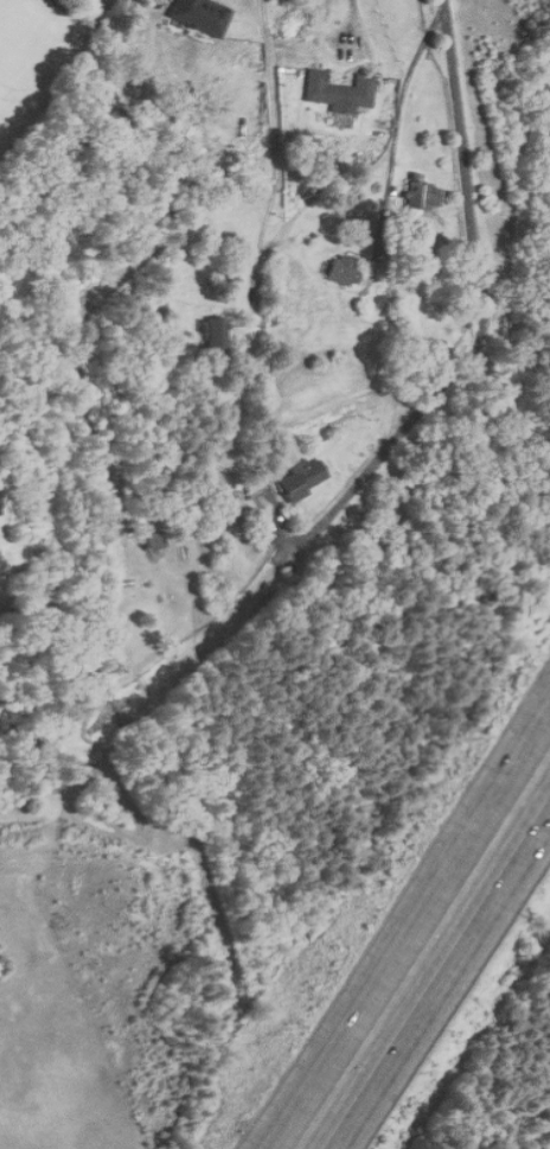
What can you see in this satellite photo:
building: (202, 15)
park: (31, 47)
building: (340, 91)
road: (397, 121)
road: (276, 145)
building: (423, 196)
building: (346, 271)
road: (486, 307)
building: (218, 334)
building: (426, 360)
building: (301, 477)
building: (154, 540)
road: (403, 923)
road: (440, 979)

